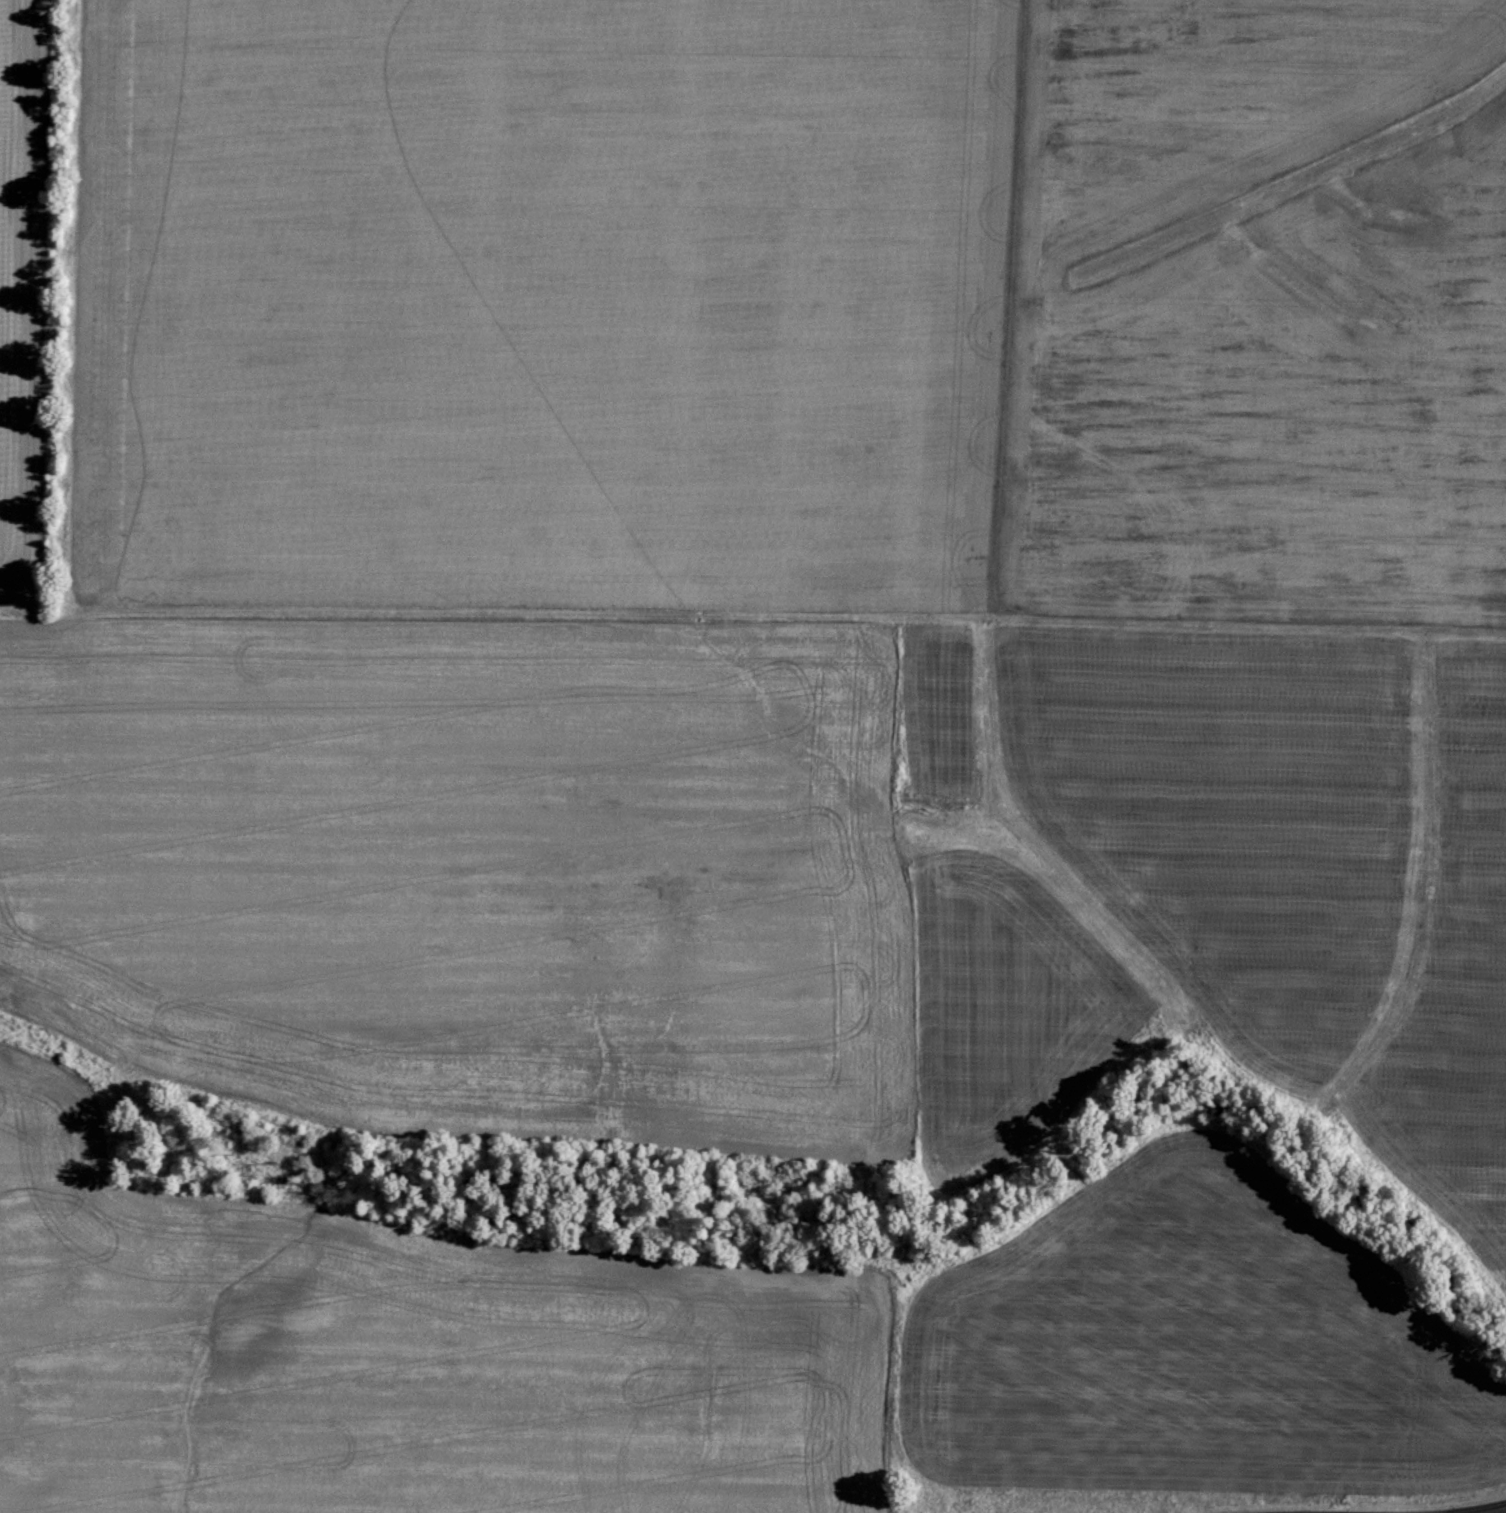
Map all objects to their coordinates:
road: (1496, 1510)

